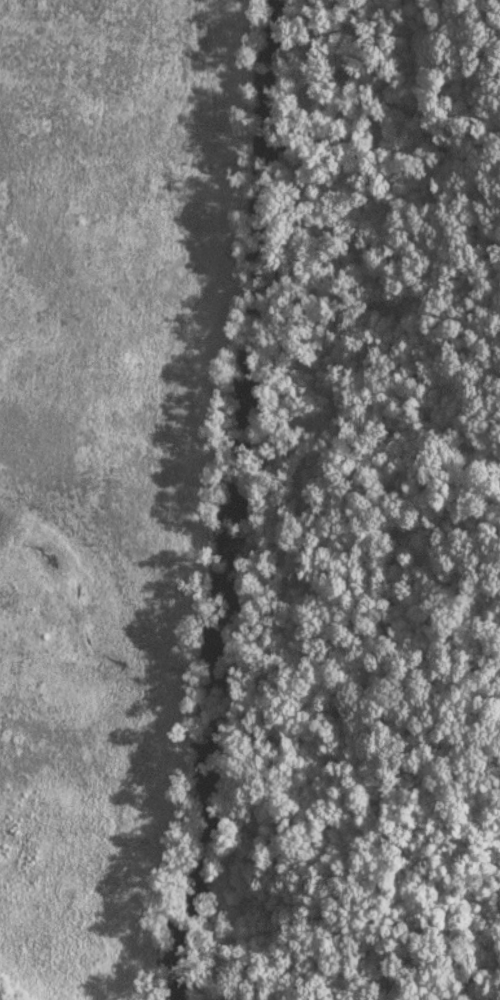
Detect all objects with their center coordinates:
river: (247, 498)

